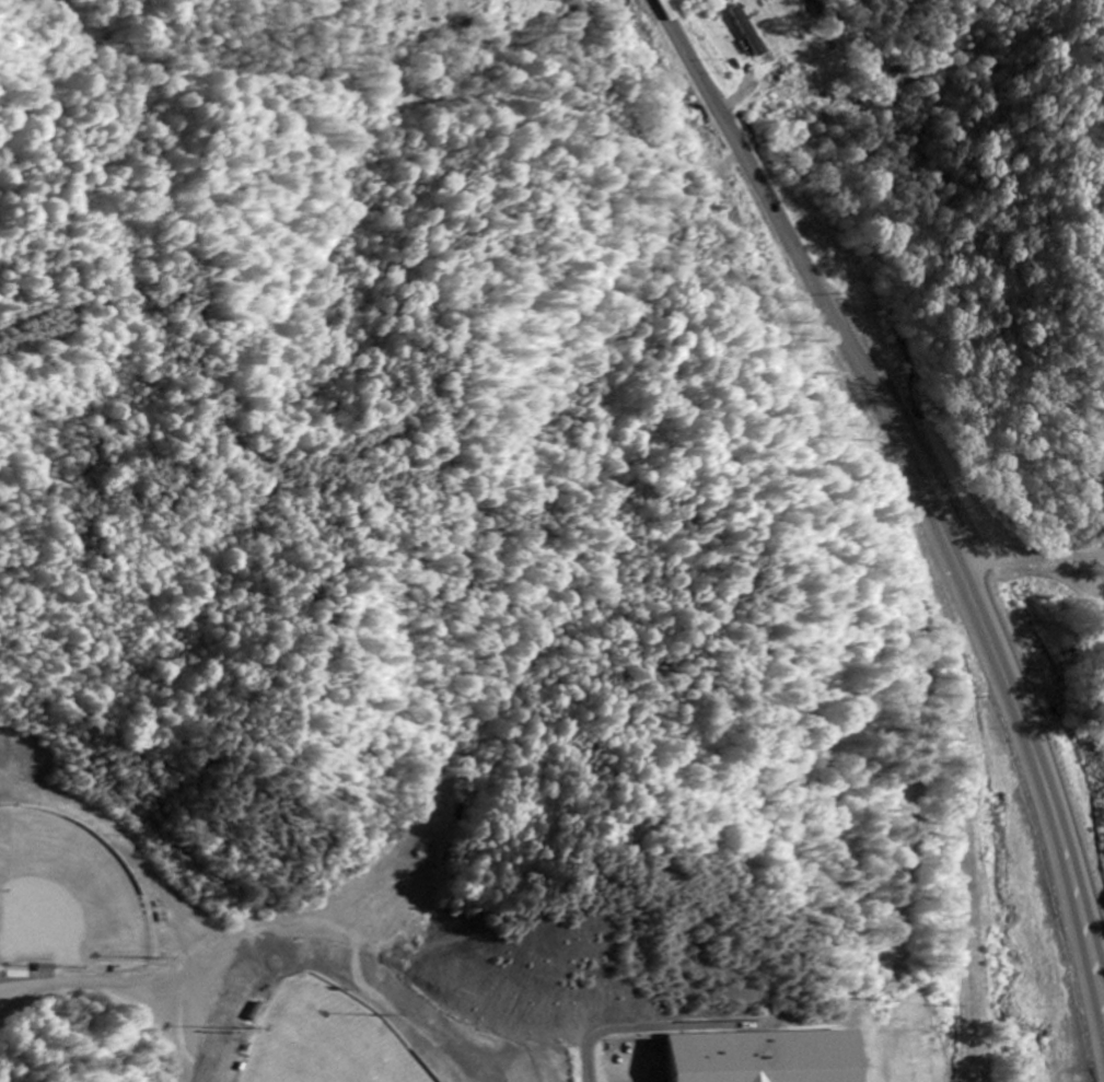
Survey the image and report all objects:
building: (747, 33)
road: (1037, 47)
road: (900, 93)
road: (355, 181)
road: (921, 491)
building: (772, 1058)

